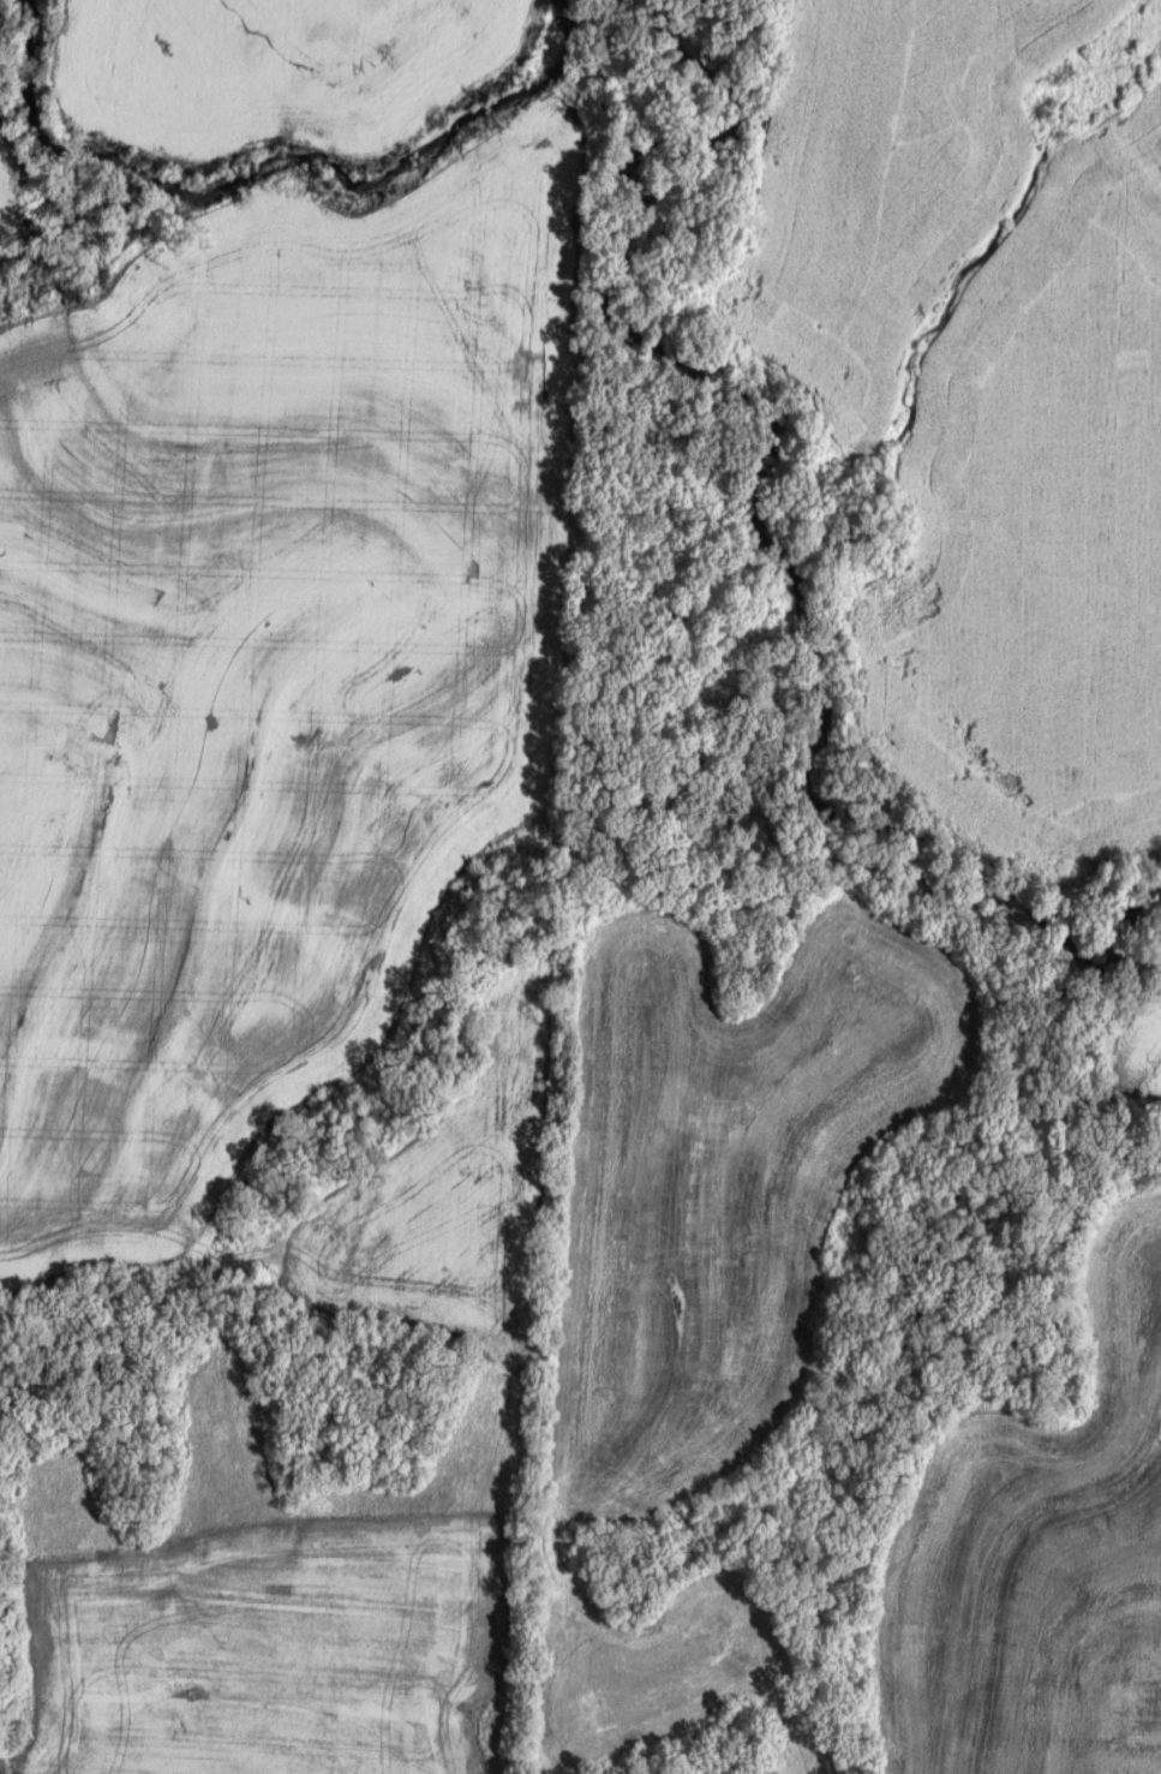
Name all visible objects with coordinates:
road: (83, 1226)

